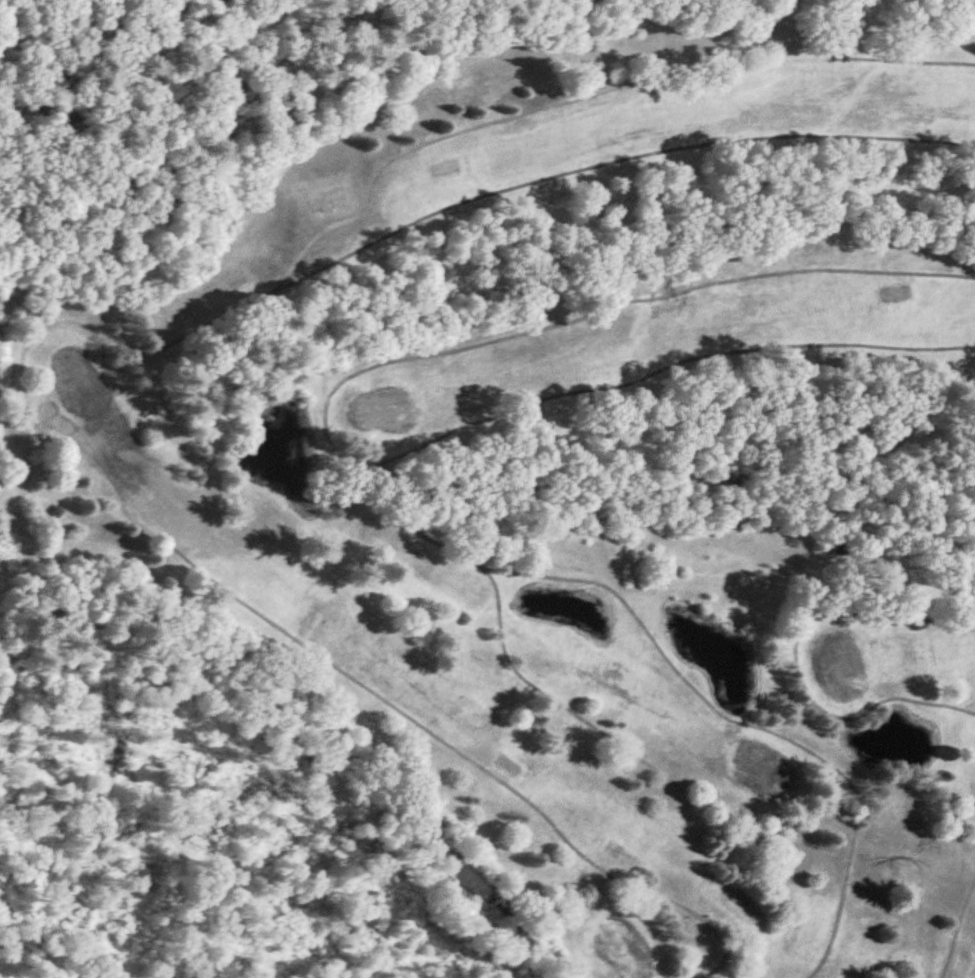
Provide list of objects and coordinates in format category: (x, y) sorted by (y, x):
park: (486, 501)

